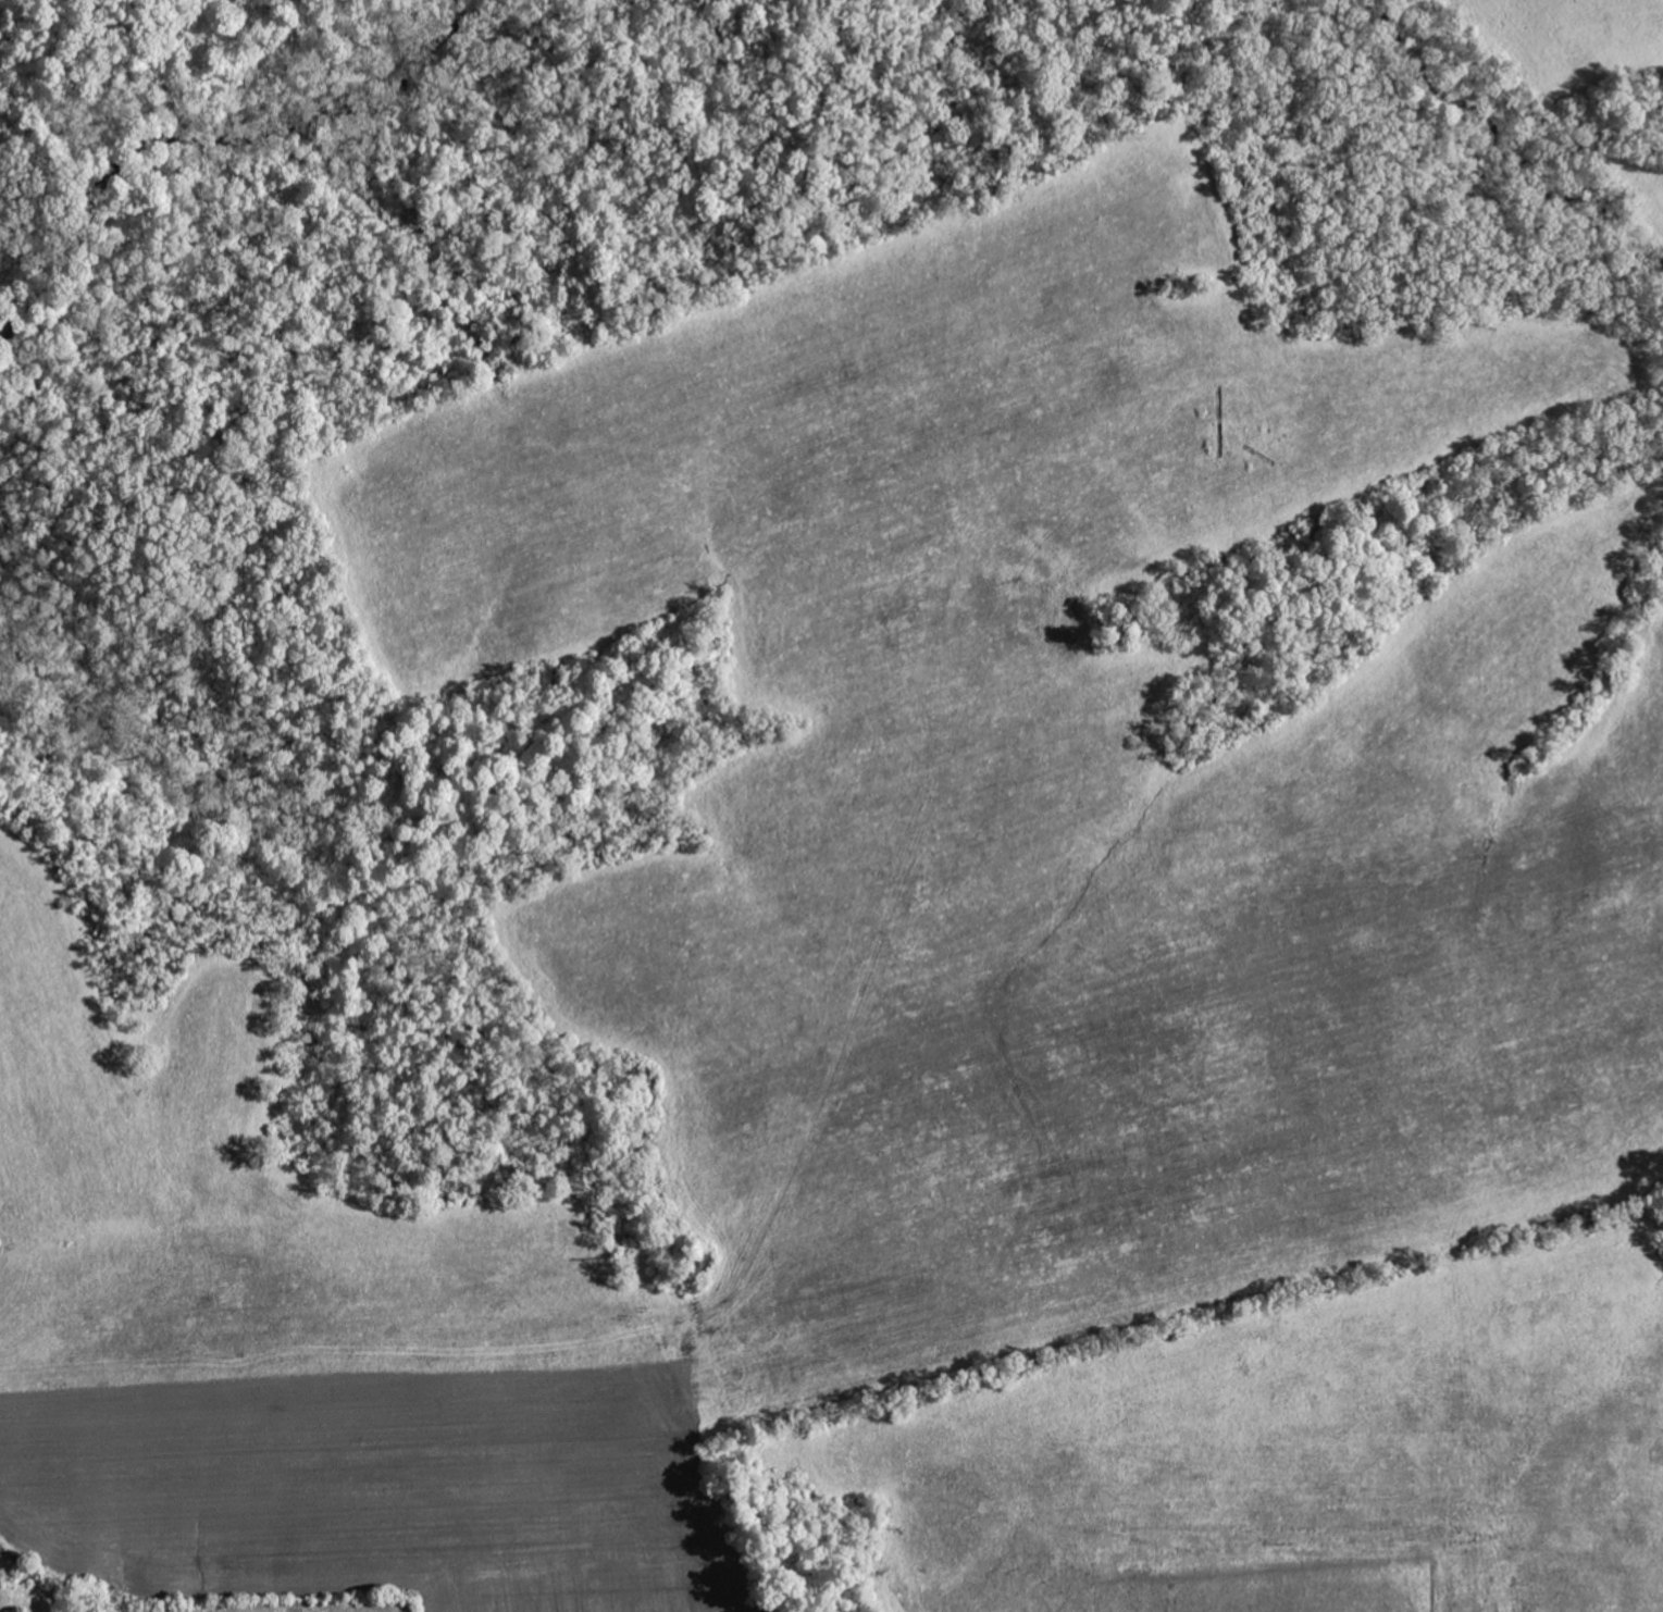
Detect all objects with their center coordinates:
crop: (932, 989)

